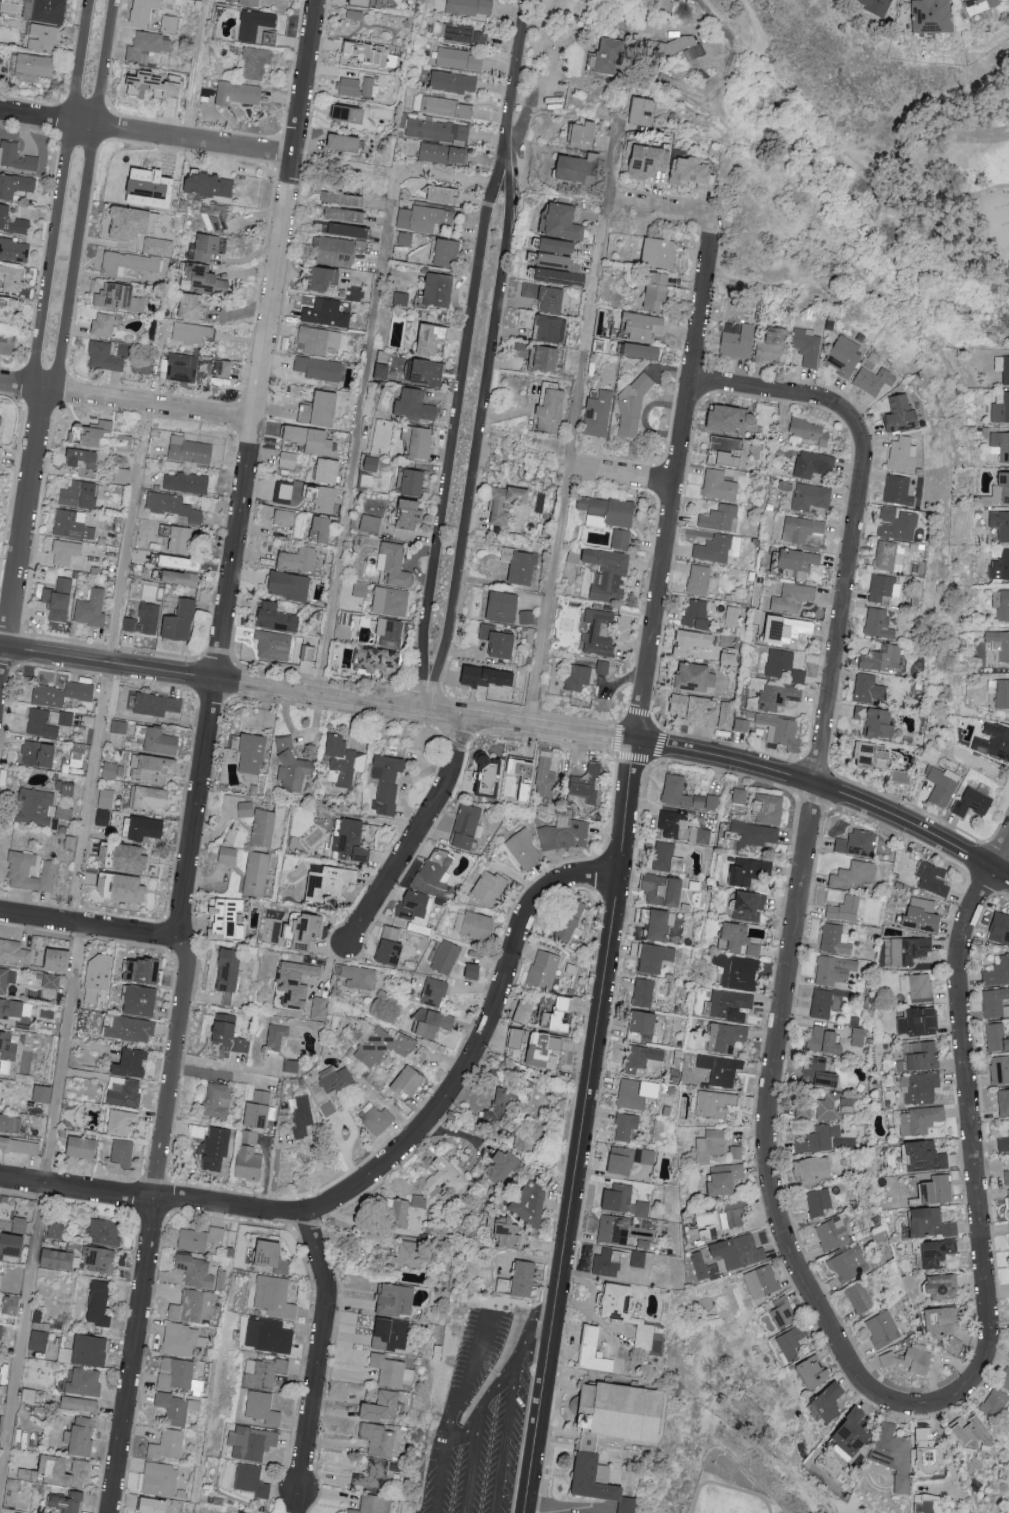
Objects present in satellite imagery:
building: (251, 2)
building: (365, 2)
building: (876, 5)
building: (973, 5)
building: (471, 7)
building: (46, 10)
building: (144, 10)
building: (929, 15)
building: (169, 23)
building: (258, 27)
building: (458, 33)
building: (44, 38)
building: (147, 44)
building: (682, 44)
road: (560, 48)
building: (606, 56)
building: (459, 59)
building: (256, 62)
road: (195, 69)
road: (69, 82)
building: (454, 82)
building: (154, 84)
building: (357, 86)
road: (518, 92)
building: (239, 93)
building: (448, 107)
road: (805, 109)
building: (643, 111)
road: (949, 111)
building: (352, 113)
building: (437, 131)
road: (145, 133)
building: (582, 135)
building: (349, 141)
building: (444, 153)
building: (16, 156)
building: (650, 161)
park: (870, 162)
building: (576, 168)
building: (691, 170)
building: (152, 182)
building: (211, 184)
building: (15, 185)
road: (60, 194)
building: (445, 194)
road: (83, 196)
road: (957, 196)
building: (343, 198)
building: (151, 200)
road: (664, 211)
building: (346, 214)
building: (3, 215)
building: (215, 216)
building: (132, 222)
building: (563, 222)
building: (20, 226)
building: (349, 229)
road: (923, 229)
building: (406, 239)
building: (158, 246)
building: (208, 246)
building: (557, 246)
building: (14, 250)
building: (337, 251)
building: (446, 253)
building: (660, 253)
building: (128, 262)
building: (560, 262)
building: (561, 277)
building: (12, 278)
building: (323, 278)
building: (205, 279)
building: (438, 289)
building: (529, 289)
building: (657, 289)
building: (120, 297)
building: (401, 298)
building: (551, 300)
building: (192, 305)
building: (10, 308)
building: (326, 313)
building: (525, 319)
building: (104, 324)
building: (644, 326)
building: (550, 329)
building: (191, 333)
building: (431, 338)
road: (265, 340)
building: (319, 340)
building: (740, 342)
building: (6, 344)
building: (808, 346)
building: (775, 347)
building: (521, 349)
building: (644, 351)
building: (104, 357)
building: (846, 357)
building: (548, 358)
building: (183, 367)
building: (1003, 367)
building: (225, 368)
building: (320, 368)
building: (382, 371)
building: (428, 372)
building: (874, 380)
road: (365, 381)
road: (127, 401)
building: (414, 405)
building: (550, 407)
building: (633, 408)
building: (320, 409)
building: (1001, 410)
building: (599, 414)
building: (900, 414)
building: (732, 418)
road: (577, 427)
building: (1, 429)
road: (455, 429)
building: (811, 431)
building: (94, 433)
road: (474, 435)
building: (310, 439)
building: (422, 442)
building: (1000, 445)
building: (191, 450)
building: (727, 450)
building: (902, 454)
building: (84, 458)
building: (288, 459)
building: (371, 463)
building: (815, 464)
building: (328, 470)
road: (14, 477)
road: (626, 477)
building: (187, 482)
building: (414, 482)
building: (720, 486)
building: (898, 490)
building: (1001, 490)
building: (81, 494)
building: (812, 497)
building: (325, 499)
building: (174, 506)
building: (498, 507)
building: (608, 511)
building: (413, 514)
building: (285, 517)
building: (721, 518)
building: (371, 523)
building: (1000, 523)
building: (897, 524)
building: (73, 525)
road: (21, 527)
building: (803, 529)
building: (179, 537)
building: (622, 539)
building: (719, 548)
building: (66, 552)
road: (125, 554)
building: (889, 556)
building: (299, 559)
building: (176, 561)
building: (800, 562)
building: (394, 564)
building: (521, 565)
building: (1001, 567)
building: (609, 573)
building: (182, 578)
building: (699, 580)
building: (289, 585)
building: (360, 589)
building: (884, 589)
building: (794, 598)
building: (59, 600)
building: (391, 601)
building: (1001, 603)
building: (504, 607)
building: (92, 609)
building: (697, 612)
building: (277, 617)
building: (528, 617)
building: (144, 619)
building: (181, 620)
building: (880, 623)
building: (789, 628)
building: (389, 632)
building: (600, 633)
building: (693, 642)
building: (503, 644)
building: (999, 644)
building: (274, 645)
building: (376, 658)
building: (884, 658)
building: (730, 659)
road: (107, 663)
building: (784, 665)
building: (489, 677)
building: (579, 677)
building: (697, 678)
building: (869, 688)
building: (1002, 692)
building: (62, 694)
road: (424, 695)
building: (778, 696)
building: (158, 704)
building: (695, 709)
building: (726, 715)
building: (878, 721)
building: (48, 722)
building: (742, 725)
building: (779, 728)
road: (624, 739)
building: (161, 741)
building: (994, 741)
building: (40, 754)
building: (251, 754)
building: (873, 755)
building: (342, 760)
building: (292, 765)
building: (157, 769)
building: (526, 770)
building: (114, 771)
building: (489, 776)
building: (547, 777)
building: (902, 777)
building: (388, 782)
building: (588, 784)
building: (943, 785)
building: (66, 788)
building: (681, 793)
road: (91, 795)
building: (739, 795)
building: (106, 798)
building: (151, 798)
building: (975, 801)
building: (713, 802)
building: (35, 806)
building: (768, 808)
building: (103, 818)
road: (809, 820)
building: (467, 825)
building: (681, 827)
building: (147, 828)
building: (263, 828)
road: (414, 831)
building: (564, 834)
building: (755, 835)
building: (351, 841)
building: (858, 843)
building: (524, 849)
building: (228, 855)
building: (132, 859)
road: (619, 865)
building: (19, 871)
building: (436, 871)
building: (747, 871)
building: (256, 874)
building: (855, 875)
building: (933, 878)
building: (331, 883)
building: (490, 887)
building: (131, 889)
building: (664, 890)
building: (749, 906)
building: (416, 907)
building: (847, 909)
building: (925, 914)
building: (227, 918)
building: (567, 923)
building: (476, 925)
building: (661, 925)
road: (87, 928)
building: (308, 929)
building: (997, 929)
building: (741, 939)
building: (836, 940)
building: (392, 946)
building: (910, 950)
building: (15, 953)
building: (447, 956)
building: (652, 957)
building: (61, 960)
building: (544, 969)
building: (142, 970)
building: (836, 971)
building: (996, 971)
building: (476, 972)
building: (744, 974)
building: (229, 976)
building: (358, 976)
building: (98, 977)
building: (7, 979)
building: (52, 981)
building: (297, 983)
building: (917, 985)
building: (435, 992)
building: (644, 992)
building: (841, 999)
building: (141, 1000)
building: (822, 1003)
building: (994, 1003)
building: (732, 1005)
building: (320, 1008)
building: (13, 1011)
building: (556, 1013)
building: (917, 1022)
building: (434, 1023)
building: (646, 1025)
building: (131, 1029)
building: (229, 1034)
building: (278, 1036)
building: (729, 1037)
building: (859, 1037)
building: (518, 1038)
building: (995, 1038)
building: (826, 1041)
building: (382, 1045)
building: (546, 1050)
building: (7, 1051)
building: (924, 1056)
building: (132, 1063)
road: (227, 1064)
building: (292, 1066)
building: (721, 1069)
building: (998, 1070)
building: (819, 1073)
road: (222, 1075)
building: (337, 1079)
building: (409, 1082)
building: (920, 1088)
building: (1, 1092)
building: (126, 1093)
building: (42, 1094)
road: (169, 1094)
building: (632, 1095)
building: (218, 1100)
building: (1002, 1103)
building: (716, 1104)
building: (835, 1106)
building: (500, 1108)
building: (260, 1109)
building: (804, 1110)
building: (302, 1116)
building: (377, 1119)
building: (921, 1120)
building: (8, 1122)
building: (122, 1122)
building: (1008, 1124)
building: (627, 1126)
building: (815, 1140)
building: (1001, 1144)
building: (711, 1145)
building: (19, 1146)
building: (82, 1147)
building: (214, 1150)
building: (123, 1152)
building: (736, 1152)
building: (249, 1157)
building: (926, 1157)
building: (630, 1159)
building: (502, 1168)
road: (385, 1169)
building: (813, 1170)
road: (975, 1173)
building: (445, 1176)
building: (1004, 1178)
building: (726, 1179)
building: (936, 1191)
building: (624, 1200)
building: (531, 1202)
building: (819, 1202)
road: (40, 1203)
building: (1006, 1203)
building: (400, 1214)
building: (735, 1214)
building: (928, 1222)
building: (20, 1224)
building: (612, 1229)
building: (56, 1230)
building: (105, 1232)
building: (1008, 1233)
building: (833, 1234)
building: (511, 1235)
building: (200, 1238)
building: (14, 1245)
building: (743, 1251)
building: (939, 1252)
building: (409, 1254)
building: (274, 1258)
building: (59, 1259)
building: (638, 1259)
building: (100, 1260)
building: (607, 1262)
building: (849, 1264)
building: (197, 1272)
building: (524, 1279)
building: (762, 1281)
building: (505, 1285)
building: (945, 1288)
building: (274, 1297)
building: (859, 1298)
building: (397, 1300)
building: (99, 1304)
building: (13, 1305)
building: (193, 1306)
building: (783, 1312)
building: (628, 1314)
building: (945, 1326)
building: (883, 1329)
building: (393, 1333)
building: (269, 1336)
building: (182, 1340)
building: (39, 1341)
building: (790, 1341)
road: (538, 1344)
road: (523, 1349)
building: (91, 1351)
building: (594, 1351)
building: (910, 1359)
road: (318, 1362)
building: (391, 1371)
building: (176, 1373)
building: (264, 1373)
building: (815, 1373)
road: (470, 1376)
building: (1003, 1379)
road: (517, 1381)
building: (85, 1383)
road: (502, 1385)
building: (832, 1401)
building: (995, 1403)
building: (81, 1404)
building: (177, 1408)
building: (263, 1408)
building: (385, 1408)
parking lot: (483, 1415)
building: (620, 1415)
building: (1, 1425)
building: (982, 1431)
building: (856, 1434)
road: (458, 1435)
building: (926, 1436)
building: (81, 1437)
building: (378, 1439)
road: (505, 1442)
building: (253, 1443)
building: (168, 1445)
road: (946, 1448)
road: (489, 1454)
road: (471, 1468)
building: (60, 1471)
building: (373, 1476)
building: (160, 1479)
road: (455, 1479)
building: (253, 1481)
building: (600, 1483)
track: (755, 1496)
building: (69, 1502)
track: (726, 1502)
building: (370, 1504)
building: (156, 1506)
road: (565, 1507)
park: (724, 1507)
building: (17, 1512)

